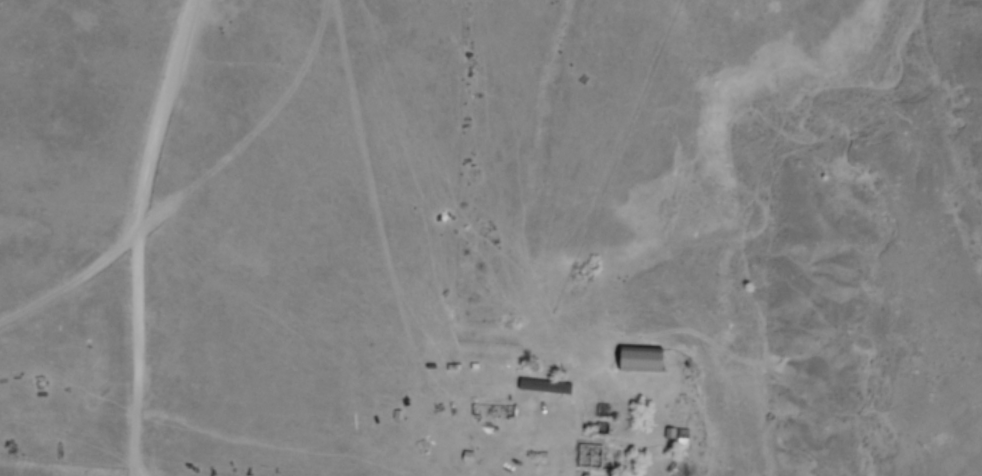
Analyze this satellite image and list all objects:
road: (138, 235)
road: (76, 279)
building: (642, 360)

